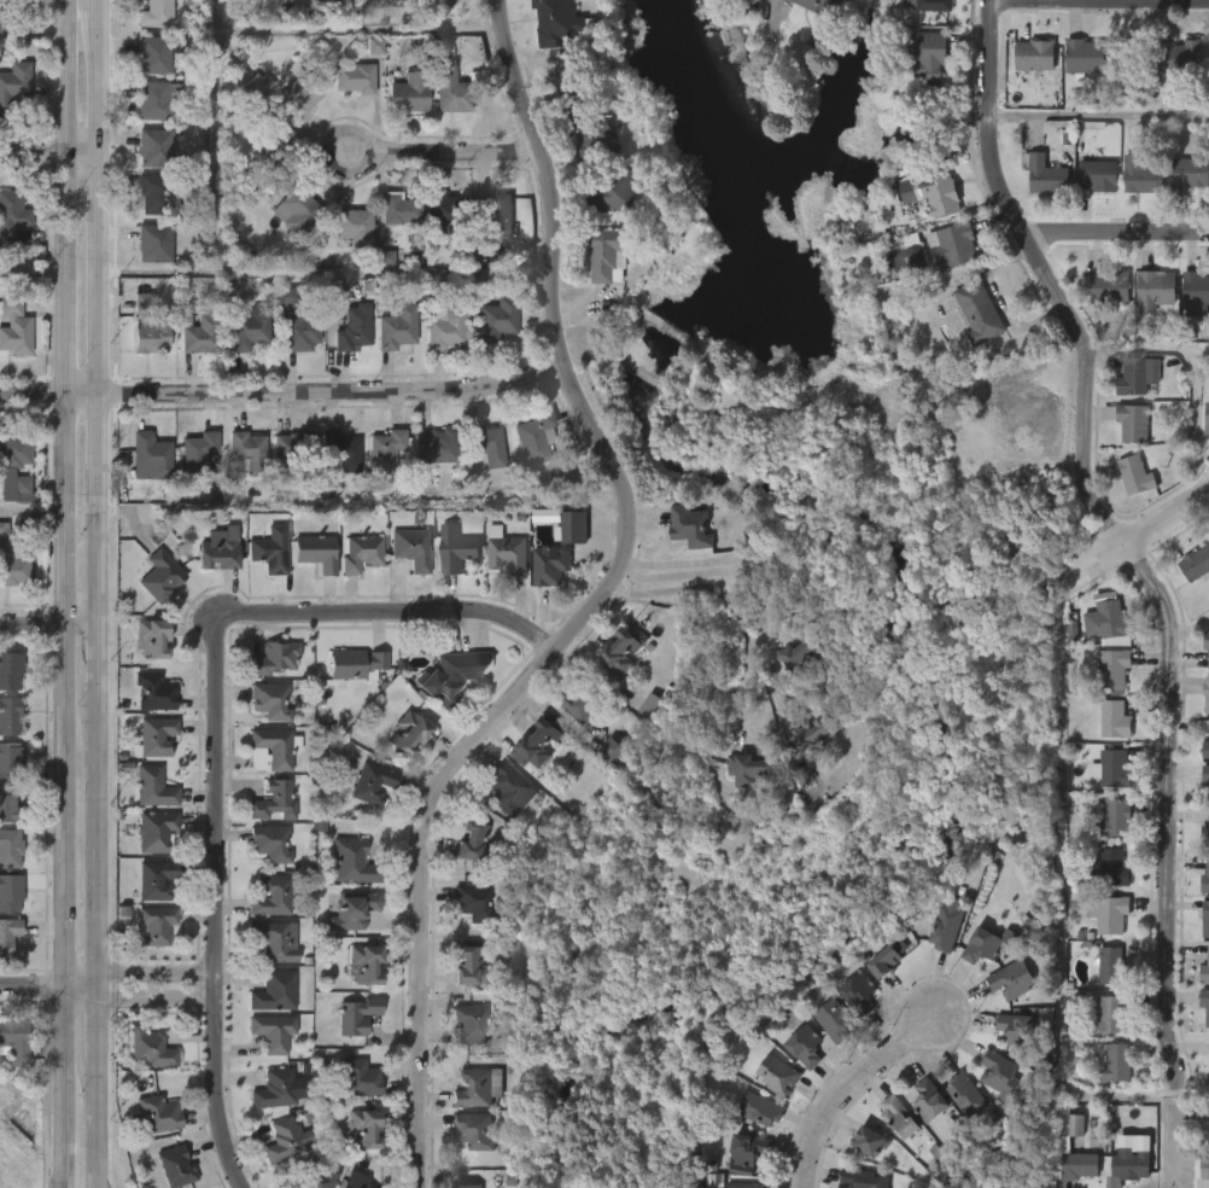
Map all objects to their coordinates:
building: (341, 0)
building: (401, 0)
road: (106, 2)
building: (817, 5)
building: (933, 5)
building: (153, 13)
building: (560, 23)
road: (363, 29)
building: (375, 46)
building: (154, 52)
building: (1034, 54)
building: (928, 56)
building: (1085, 56)
building: (1175, 63)
building: (354, 77)
building: (14, 83)
building: (255, 86)
building: (450, 89)
building: (407, 92)
building: (297, 94)
building: (153, 99)
road: (1099, 116)
building: (589, 133)
road: (214, 136)
building: (152, 147)
road: (445, 151)
road: (53, 153)
building: (270, 153)
building: (1044, 174)
building: (1190, 174)
building: (1099, 176)
building: (1144, 176)
building: (611, 192)
building: (156, 193)
building: (929, 194)
building: (198, 199)
building: (294, 210)
building: (399, 210)
building: (446, 212)
building: (490, 214)
building: (11, 216)
road: (1116, 226)
building: (352, 227)
building: (151, 243)
building: (952, 245)
building: (913, 251)
building: (604, 255)
building: (386, 258)
road: (31, 270)
road: (325, 272)
building: (1109, 286)
building: (1195, 289)
building: (1153, 290)
building: (333, 292)
building: (142, 301)
road: (997, 302)
building: (977, 311)
road: (105, 314)
building: (496, 319)
dam: (664, 320)
building: (294, 322)
building: (350, 326)
building: (13, 328)
building: (246, 328)
building: (396, 328)
building: (444, 328)
building: (148, 334)
building: (198, 334)
building: (1135, 377)
road: (280, 389)
building: (1205, 419)
building: (1128, 421)
building: (536, 436)
building: (484, 444)
building: (436, 447)
building: (291, 448)
building: (339, 450)
building: (386, 450)
building: (245, 453)
building: (193, 454)
building: (147, 458)
building: (13, 460)
building: (1134, 476)
road: (31, 508)
building: (689, 528)
road: (1135, 532)
road: (1119, 535)
building: (216, 548)
building: (411, 548)
building: (454, 549)
building: (269, 551)
building: (557, 551)
building: (315, 552)
building: (504, 552)
building: (361, 554)
building: (13, 557)
road: (722, 558)
building: (1196, 564)
road: (744, 572)
building: (159, 576)
road: (63, 594)
road: (726, 599)
road: (585, 605)
building: (1105, 622)
road: (53, 624)
building: (148, 637)
building: (1207, 640)
building: (617, 653)
building: (801, 657)
road: (106, 658)
building: (273, 658)
building: (354, 664)
building: (1112, 670)
building: (8, 671)
building: (443, 681)
building: (153, 693)
building: (1205, 694)
building: (268, 701)
building: (580, 701)
building: (650, 706)
building: (8, 716)
building: (1114, 721)
building: (407, 734)
building: (152, 738)
building: (810, 738)
road: (222, 744)
building: (533, 745)
building: (273, 747)
building: (1205, 750)
building: (609, 751)
building: (8, 761)
building: (1114, 769)
building: (749, 770)
building: (801, 776)
building: (1205, 778)
building: (370, 784)
building: (154, 787)
building: (503, 788)
building: (275, 799)
building: (7, 809)
building: (1111, 819)
building: (153, 832)
road: (105, 837)
building: (1205, 837)
building: (270, 843)
building: (473, 843)
building: (8, 849)
building: (351, 860)
building: (1109, 868)
building: (157, 880)
building: (1205, 880)
building: (10, 892)
building: (270, 895)
building: (472, 902)
building: (351, 909)
building: (1109, 913)
building: (1205, 918)
building: (945, 925)
building: (153, 926)
building: (7, 933)
building: (270, 939)
building: (981, 944)
building: (887, 962)
building: (367, 963)
building: (467, 965)
building: (1111, 966)
building: (1204, 968)
road: (159, 978)
building: (1010, 979)
road: (52, 980)
building: (271, 990)
building: (860, 995)
building: (1204, 1002)
building: (355, 1014)
building: (1110, 1014)
road: (104, 1020)
building: (837, 1021)
building: (468, 1023)
building: (1015, 1027)
building: (271, 1031)
building: (13, 1041)
building: (806, 1047)
building: (148, 1048)
building: (1112, 1061)
building: (998, 1072)
building: (781, 1076)
building: (357, 1077)
road: (851, 1085)
building: (477, 1087)
building: (273, 1088)
building: (965, 1094)
building: (927, 1100)
building: (757, 1108)
building: (157, 1113)
building: (899, 1118)
road: (104, 1124)
building: (362, 1126)
building: (471, 1130)
road: (1173, 1136)
building: (284, 1138)
building: (871, 1142)
building: (747, 1152)
building: (1077, 1165)
building: (173, 1166)
building: (1127, 1169)
building: (1204, 1171)
building: (313, 1177)
building: (863, 1178)
building: (346, 1184)
building: (366, 1184)
building: (746, 1186)
building: (468, 1187)

